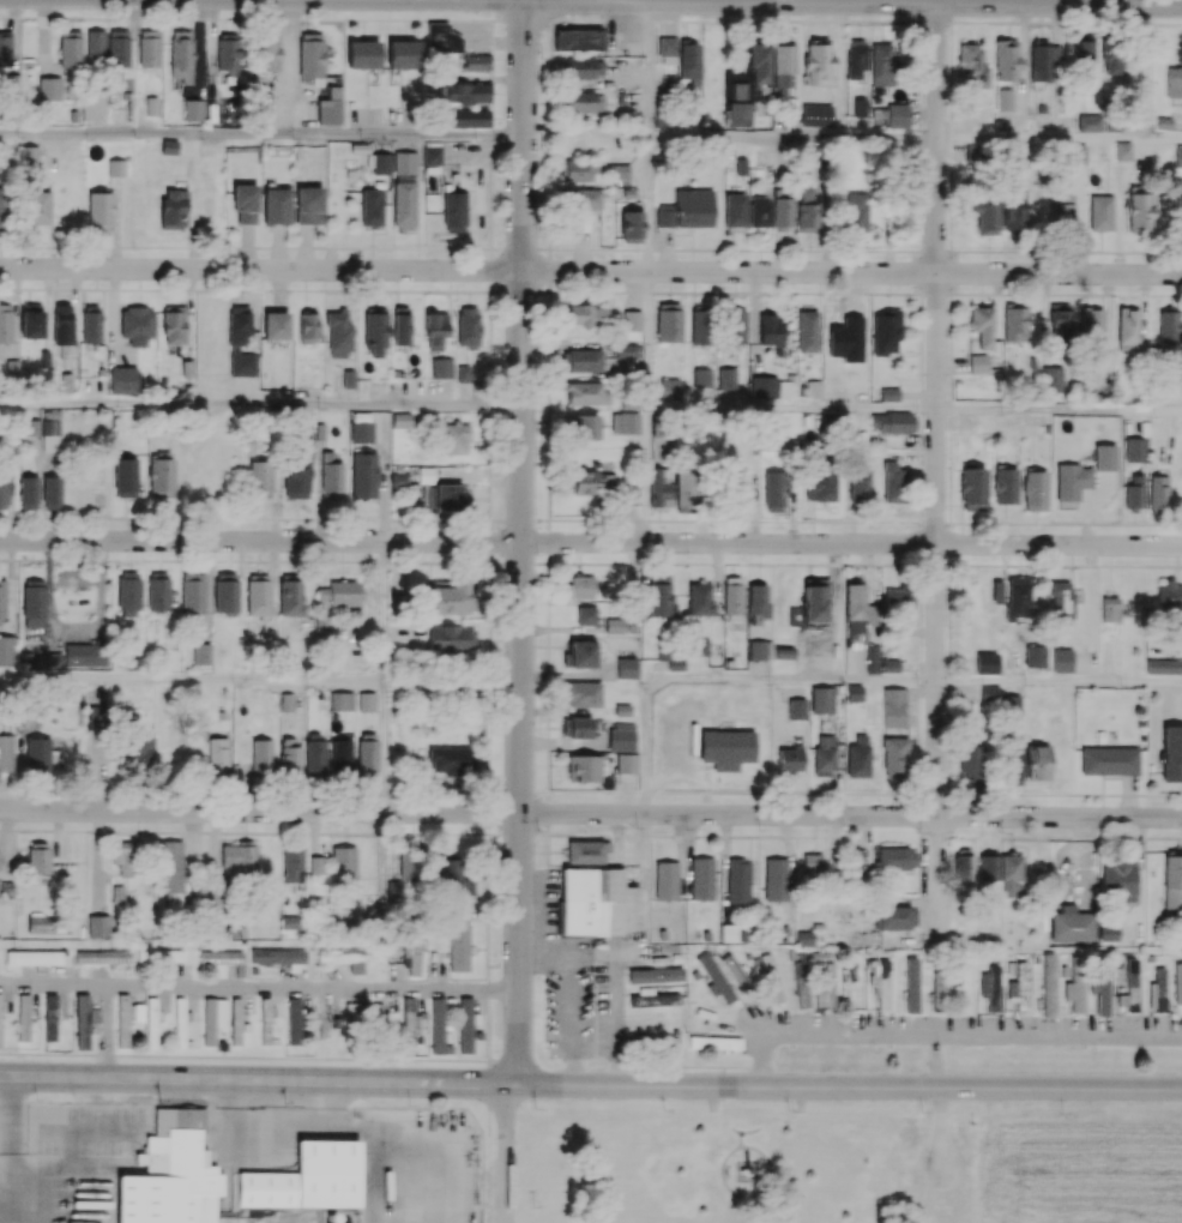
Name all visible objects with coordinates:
road: (631, 0)
road: (646, 0)
road: (842, 1)
road: (625, 14)
road: (626, 29)
street lamp: (918, 30)
building: (441, 40)
building: (579, 40)
building: (474, 64)
road: (646, 72)
building: (465, 95)
building: (464, 120)
road: (261, 133)
road: (1059, 138)
road: (790, 140)
road: (646, 207)
road: (590, 271)
road: (647, 342)
road: (260, 405)
road: (791, 410)
road: (1059, 410)
road: (936, 472)
road: (647, 477)
road: (385, 483)
road: (520, 535)
road: (591, 543)
road: (384, 611)
road: (725, 677)
road: (192, 679)
road: (1059, 680)
road: (384, 748)
road: (590, 814)
road: (259, 987)
road: (104, 1030)
road: (948, 1035)
road: (259, 1058)
road: (590, 1080)
road: (230, 1107)
road: (10, 1126)
road: (502, 1144)
park: (744, 1159)

